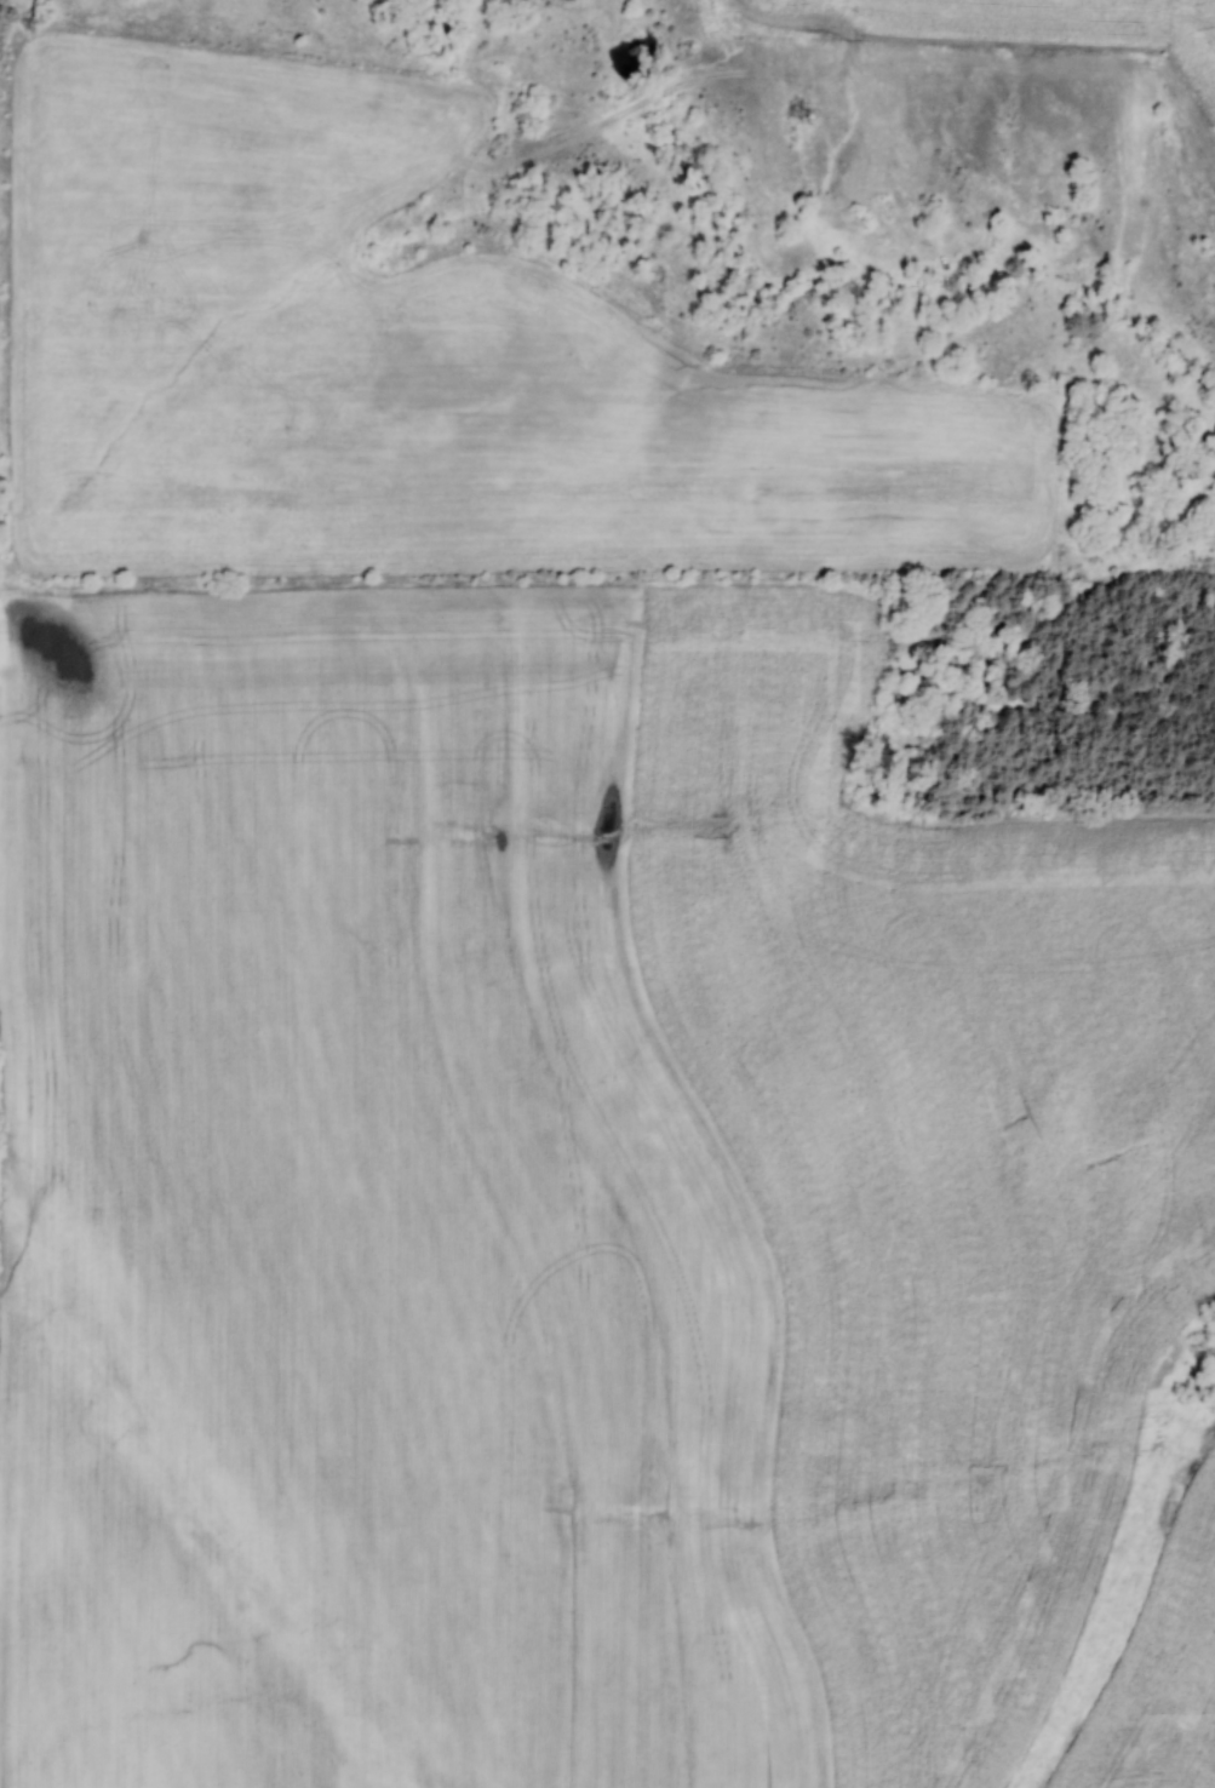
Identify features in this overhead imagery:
crop: (369, 1210)

